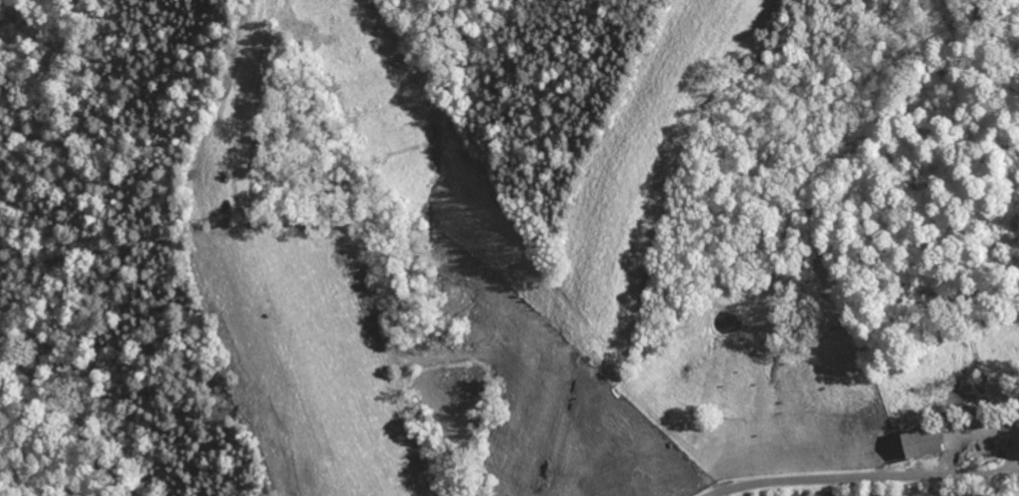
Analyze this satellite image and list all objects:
building: (930, 443)
road: (864, 477)

